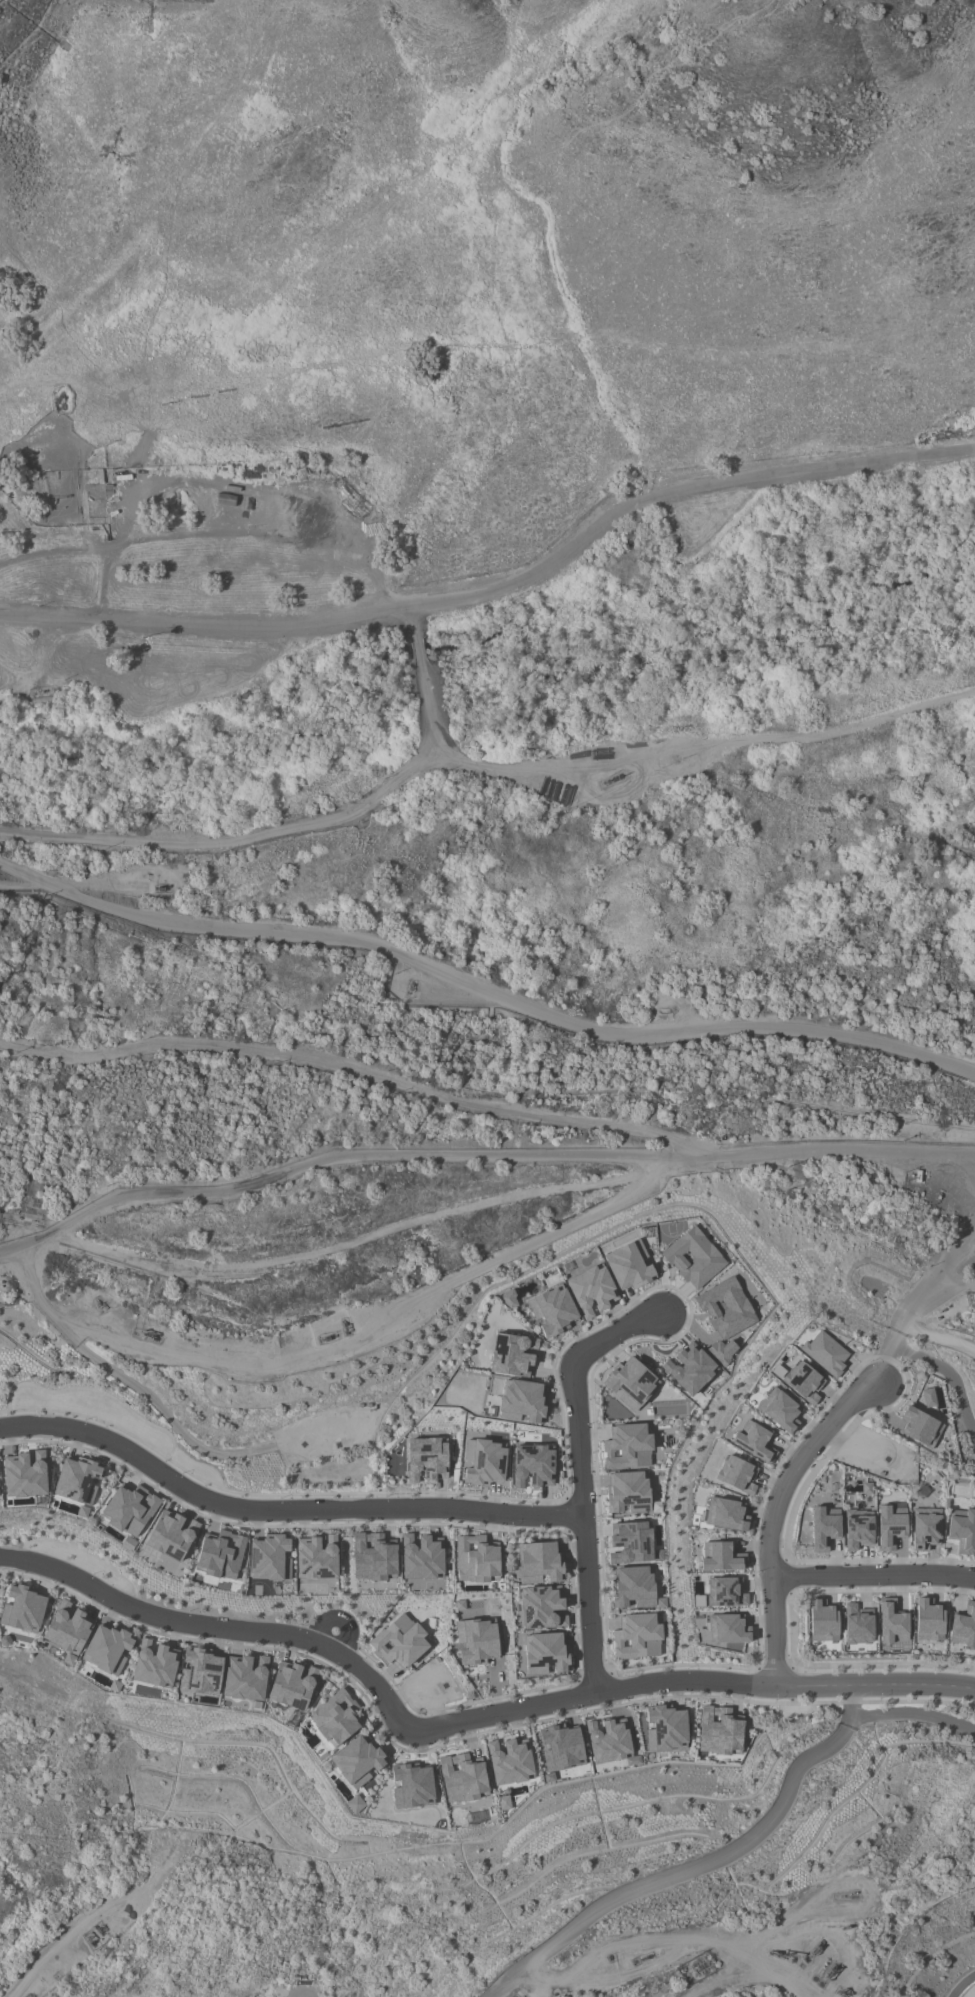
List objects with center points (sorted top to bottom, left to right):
road: (27, 530)
road: (260, 535)
road: (83, 549)
road: (501, 591)
petroleum well: (611, 779)
petroleum well: (161, 888)
road: (485, 990)
road: (345, 1071)
road: (477, 1157)
building: (693, 1258)
building: (629, 1265)
road: (946, 1289)
building: (591, 1291)
road: (920, 1292)
building: (509, 1299)
building: (725, 1308)
building: (552, 1310)
petroleum well: (345, 1324)
petroleum well: (146, 1334)
petroleum well: (327, 1336)
building: (722, 1351)
building: (824, 1353)
building: (512, 1354)
building: (689, 1368)
building: (803, 1382)
building: (630, 1383)
building: (928, 1397)
building: (522, 1401)
building: (780, 1410)
building: (919, 1427)
building: (753, 1441)
building: (628, 1446)
building: (426, 1459)
building: (483, 1462)
building: (532, 1465)
building: (25, 1474)
building: (737, 1474)
road: (578, 1480)
building: (76, 1483)
building: (628, 1492)
building: (129, 1509)
road: (279, 1511)
road: (773, 1512)
building: (725, 1514)
building: (890, 1525)
building: (824, 1528)
building: (925, 1528)
building: (858, 1529)
building: (962, 1530)
building: (171, 1535)
building: (631, 1542)
building: (220, 1555)
building: (316, 1557)
building: (372, 1557)
building: (420, 1557)
building: (720, 1557)
building: (269, 1558)
building: (476, 1558)
building: (539, 1563)
road: (873, 1573)
building: (634, 1588)
building: (725, 1592)
building: (542, 1608)
building: (22, 1609)
building: (928, 1620)
building: (822, 1621)
building: (891, 1622)
building: (857, 1624)
building: (963, 1626)
building: (726, 1628)
building: (67, 1630)
building: (637, 1636)
building: (476, 1640)
building: (399, 1641)
building: (106, 1649)
building: (545, 1654)
building: (155, 1664)
building: (199, 1672)
building: (245, 1677)
road: (888, 1683)
building: (291, 1685)
road: (395, 1704)
road: (914, 1714)
building: (335, 1717)
building: (665, 1729)
building: (719, 1731)
building: (608, 1740)
building: (560, 1749)
building: (356, 1761)
building: (509, 1761)
building: (462, 1778)
building: (412, 1786)
building: (504, 1802)
building: (354, 1804)
road: (705, 1866)
road: (69, 1937)
petroleum well: (816, 1948)
petroleum well: (777, 1952)
petroleum well: (641, 1956)
petroleum well: (824, 1964)
road: (747, 1970)
building: (964, 1987)
storage tank: (964, 1987)
petroleum well: (843, 1993)

